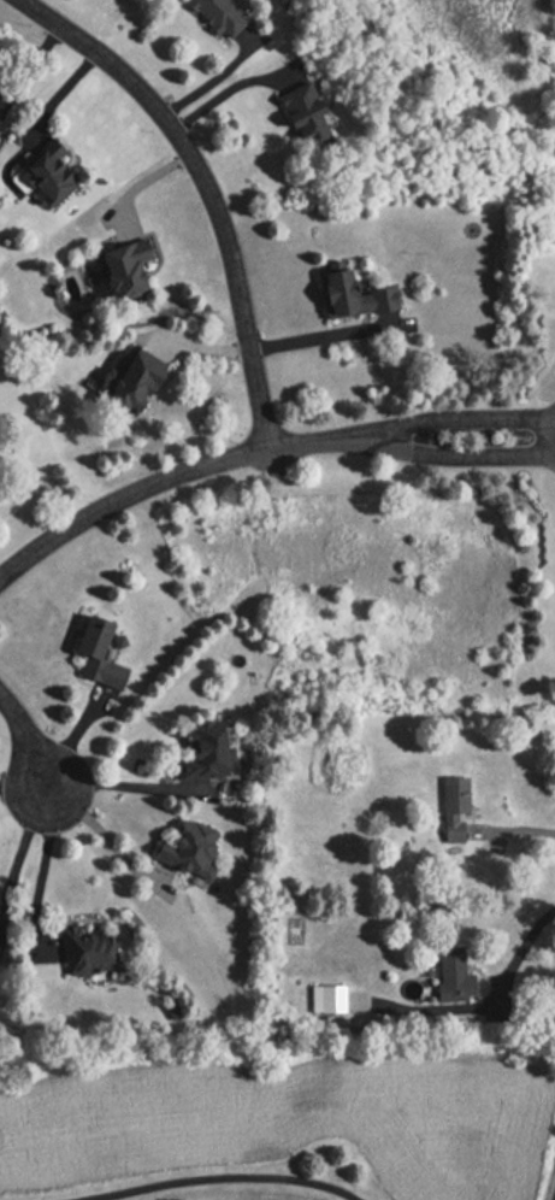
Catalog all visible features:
building: (219, 16)
road: (29, 67)
road: (211, 81)
road: (223, 90)
road: (60, 93)
building: (301, 114)
building: (41, 172)
road: (143, 181)
road: (209, 188)
building: (119, 267)
building: (347, 295)
road: (318, 336)
road: (200, 347)
building: (129, 382)
road: (461, 417)
road: (462, 443)
road: (175, 476)
building: (93, 654)
road: (29, 739)
road: (69, 741)
building: (197, 751)
road: (126, 787)
road: (24, 788)
building: (451, 810)
road: (106, 840)
road: (19, 846)
building: (182, 848)
road: (42, 866)
building: (81, 951)
road: (520, 952)
building: (449, 973)
crop: (268, 1125)
road: (225, 1180)

